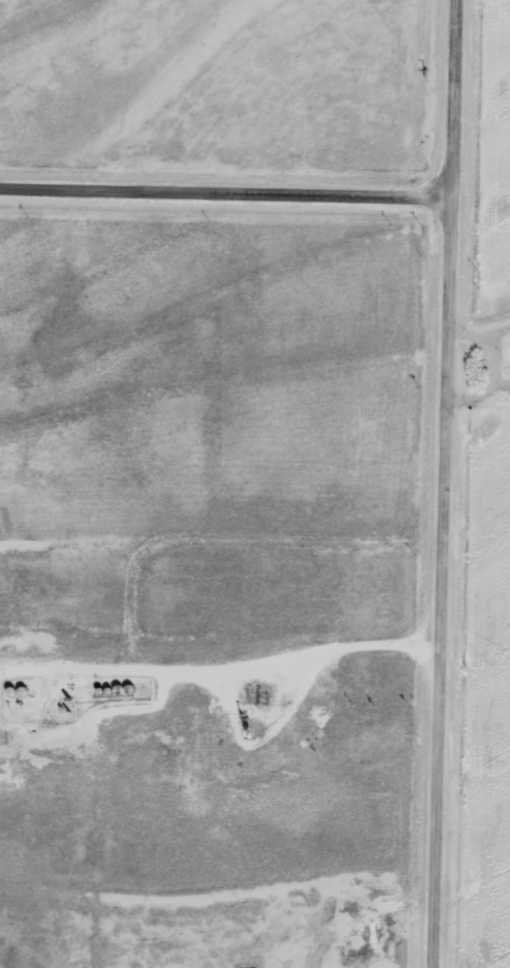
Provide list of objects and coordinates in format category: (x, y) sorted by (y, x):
road: (78, 188)
road: (225, 189)
road: (372, 194)
road: (444, 483)
road: (493, 959)

